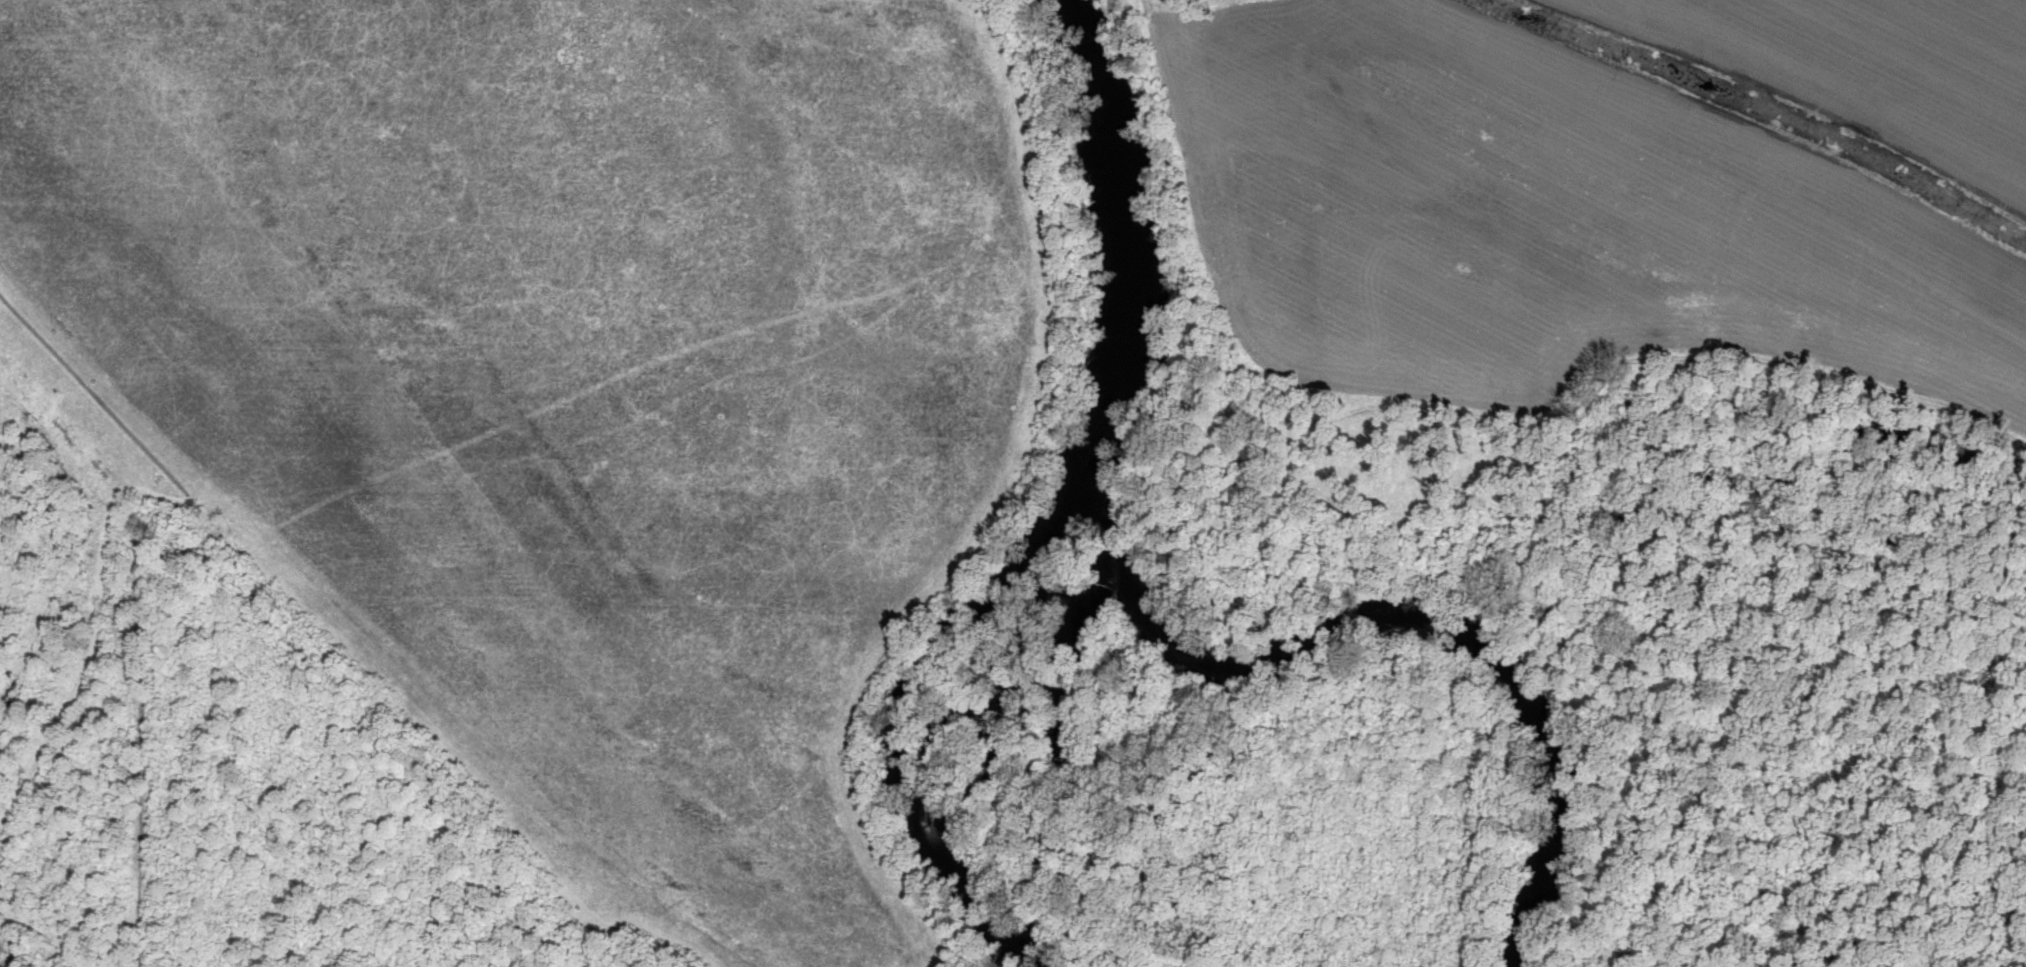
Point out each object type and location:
river: (1167, 637)

